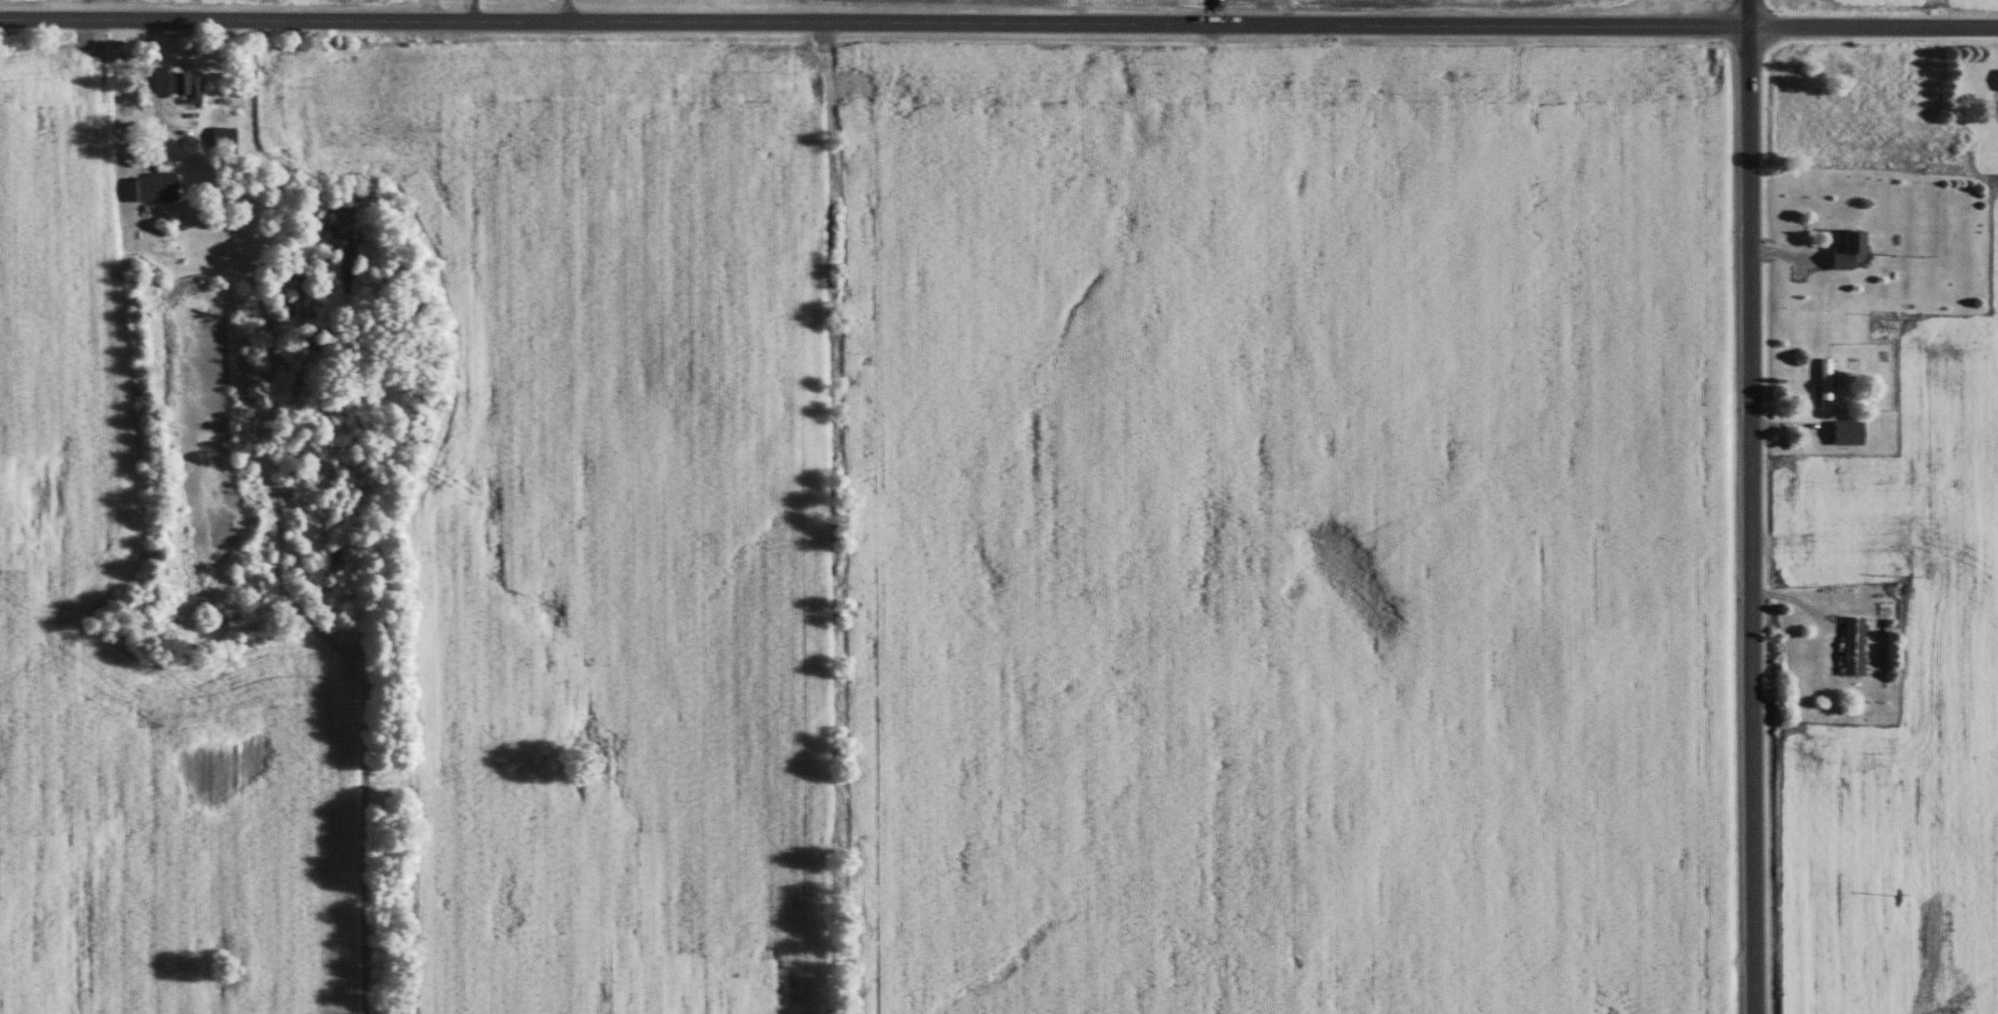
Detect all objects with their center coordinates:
road: (478, 15)
road: (572, 15)
road: (999, 30)
road: (150, 81)
building: (182, 88)
building: (220, 143)
building: (145, 195)
building: (1845, 252)
building: (1823, 388)
building: (1845, 435)
road: (1752, 506)

